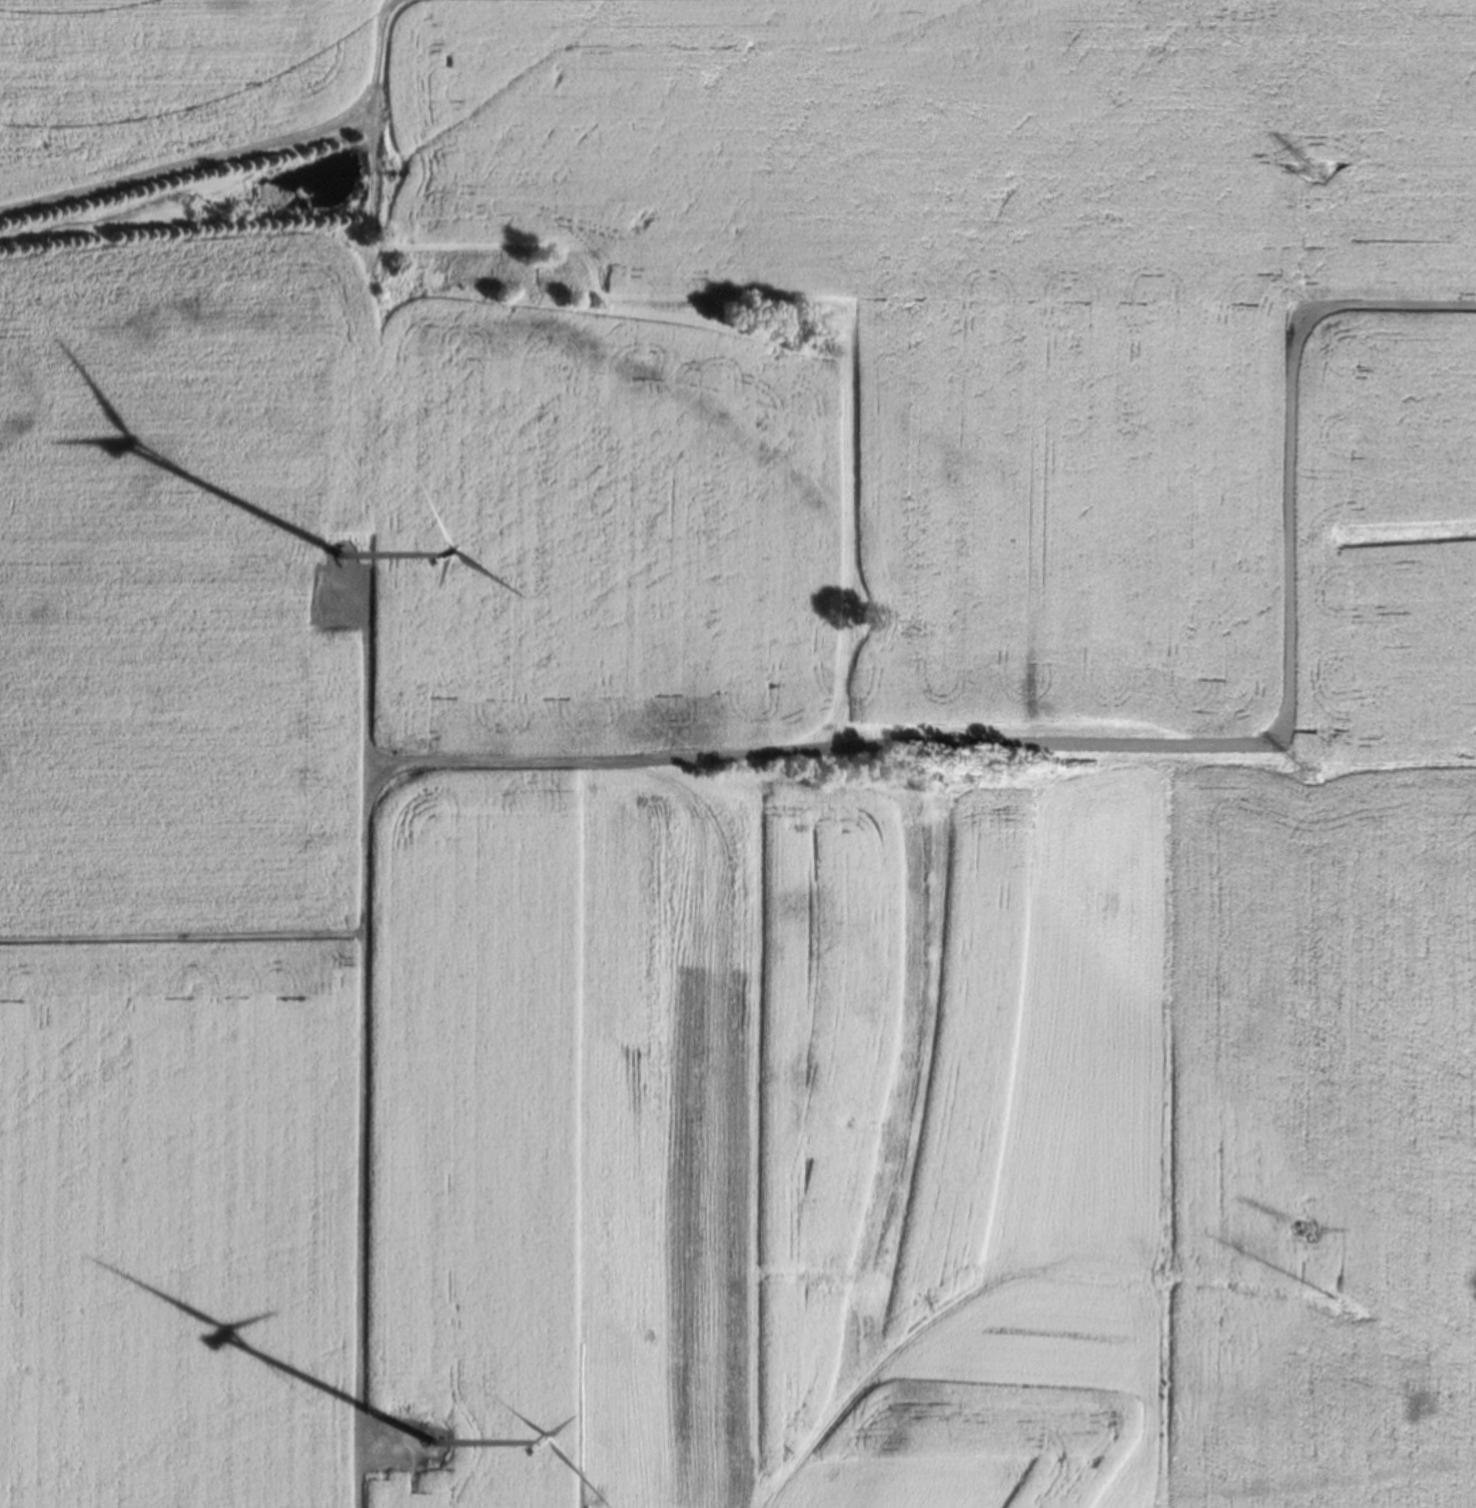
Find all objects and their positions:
power tower: (1314, 175)
wind turbine: (337, 560)
road: (1121, 751)
power tower: (1299, 779)
road: (180, 940)
road: (359, 1041)
power tower: (1293, 1236)
power tower: (1329, 1303)
wind turbine: (425, 1448)

